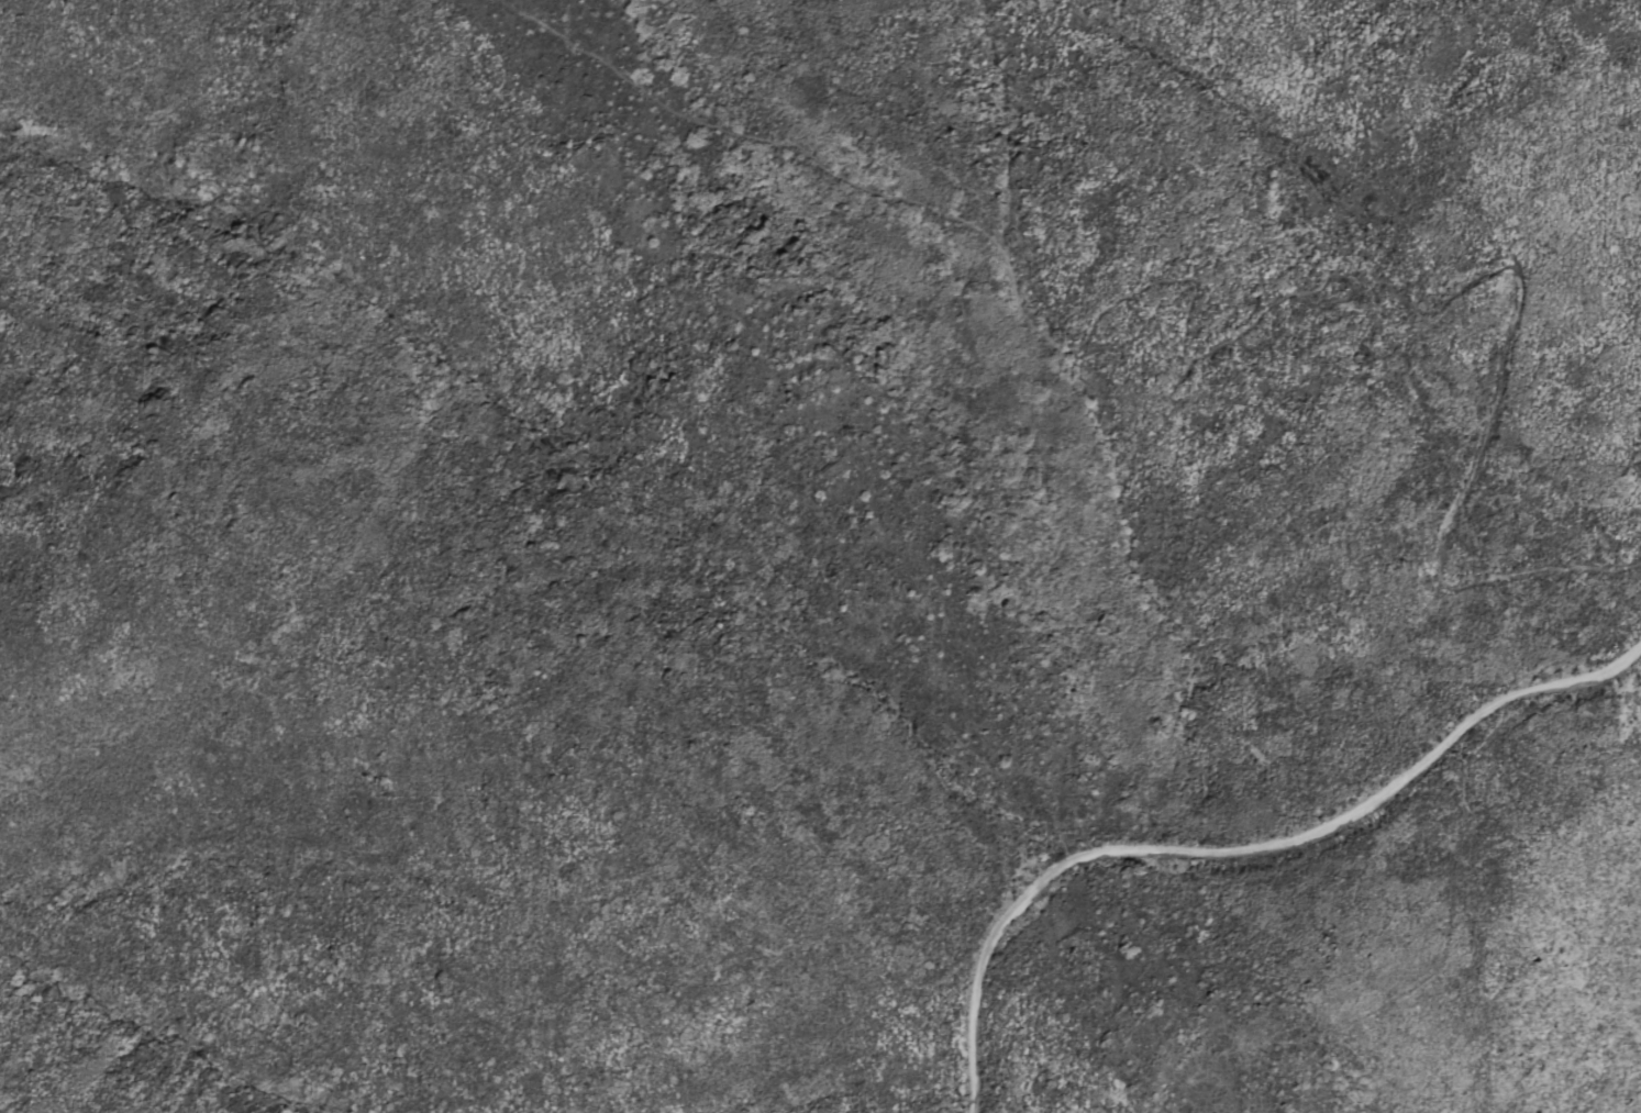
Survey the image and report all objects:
road: (1149, 293)
road: (1535, 566)
road: (1235, 847)

